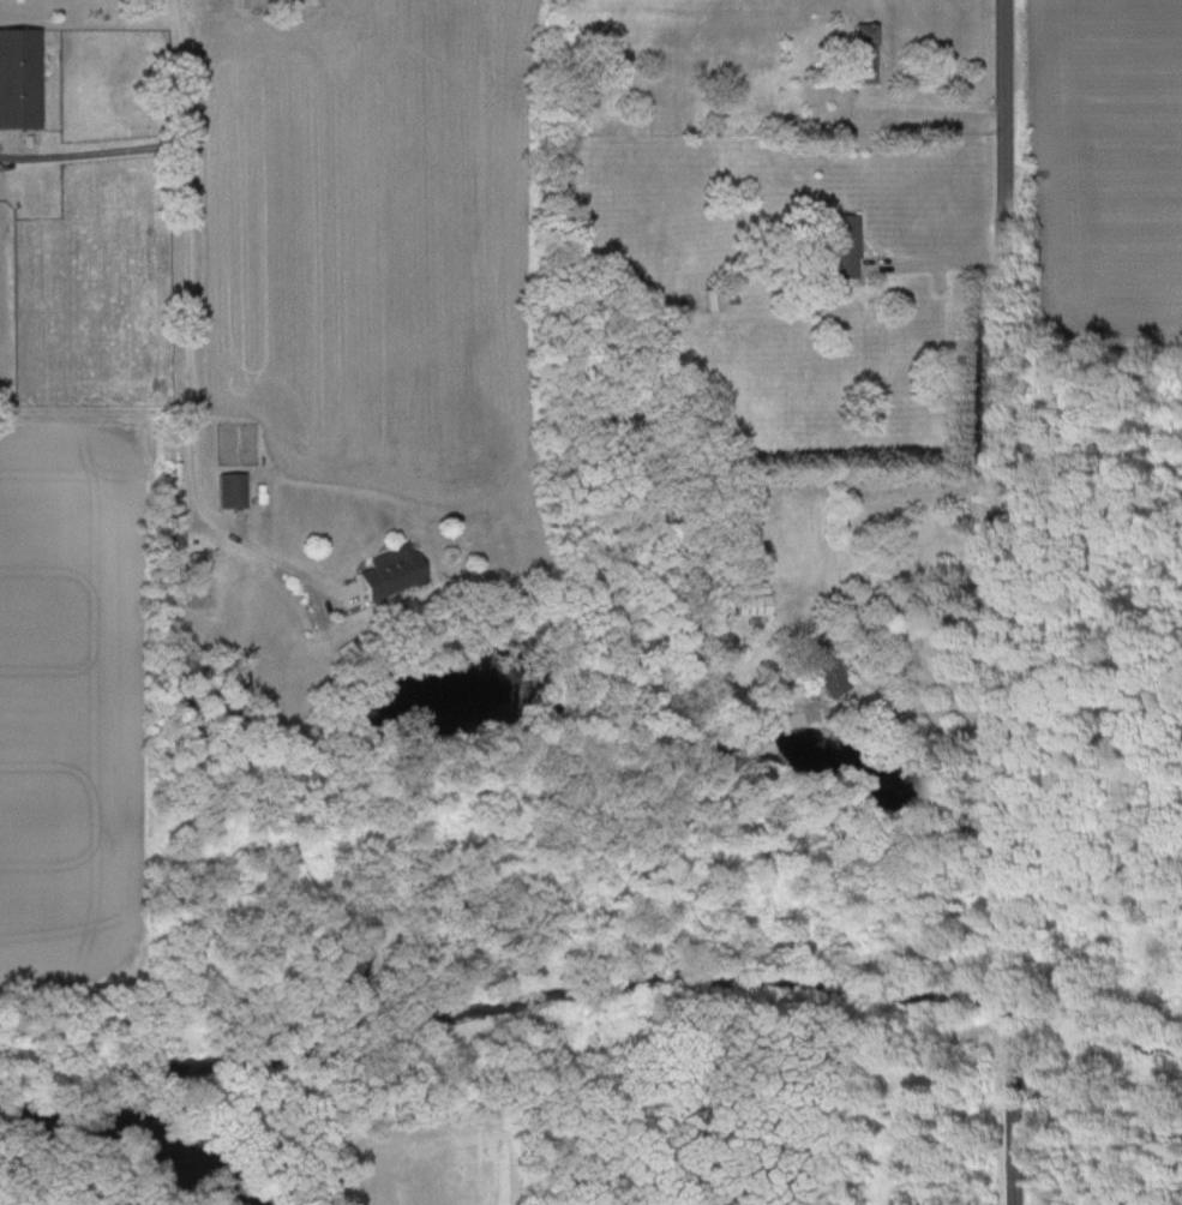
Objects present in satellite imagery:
building: (865, 53)
road: (185, 71)
building: (18, 78)
road: (928, 112)
road: (94, 152)
building: (845, 246)
road: (943, 268)
road: (191, 395)
building: (230, 491)
building: (390, 571)
road: (1009, 602)
building: (752, 605)
building: (823, 666)
road: (928, 718)
river: (98, 1165)

